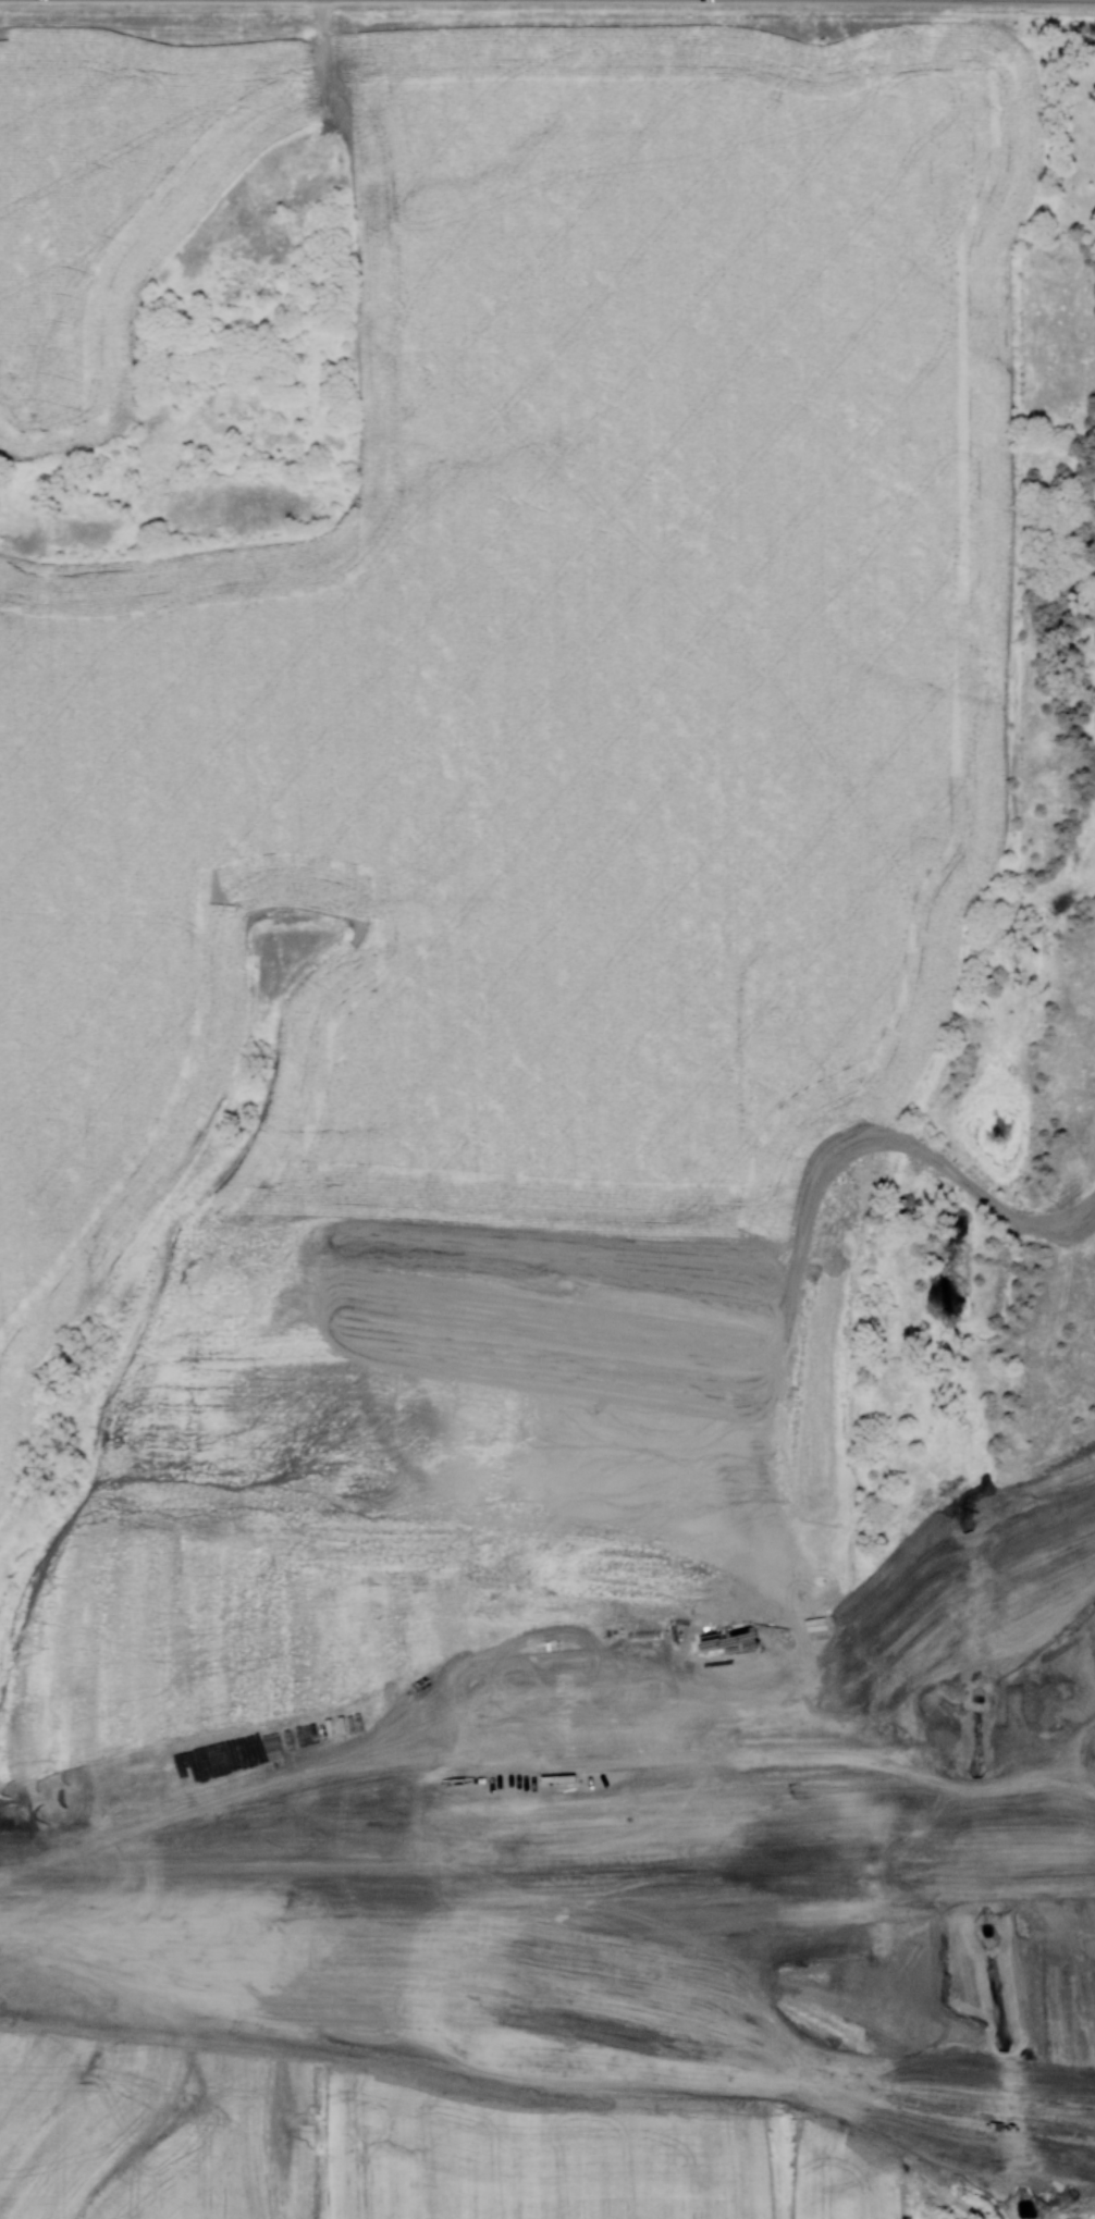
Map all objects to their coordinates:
crop: (515, 626)

